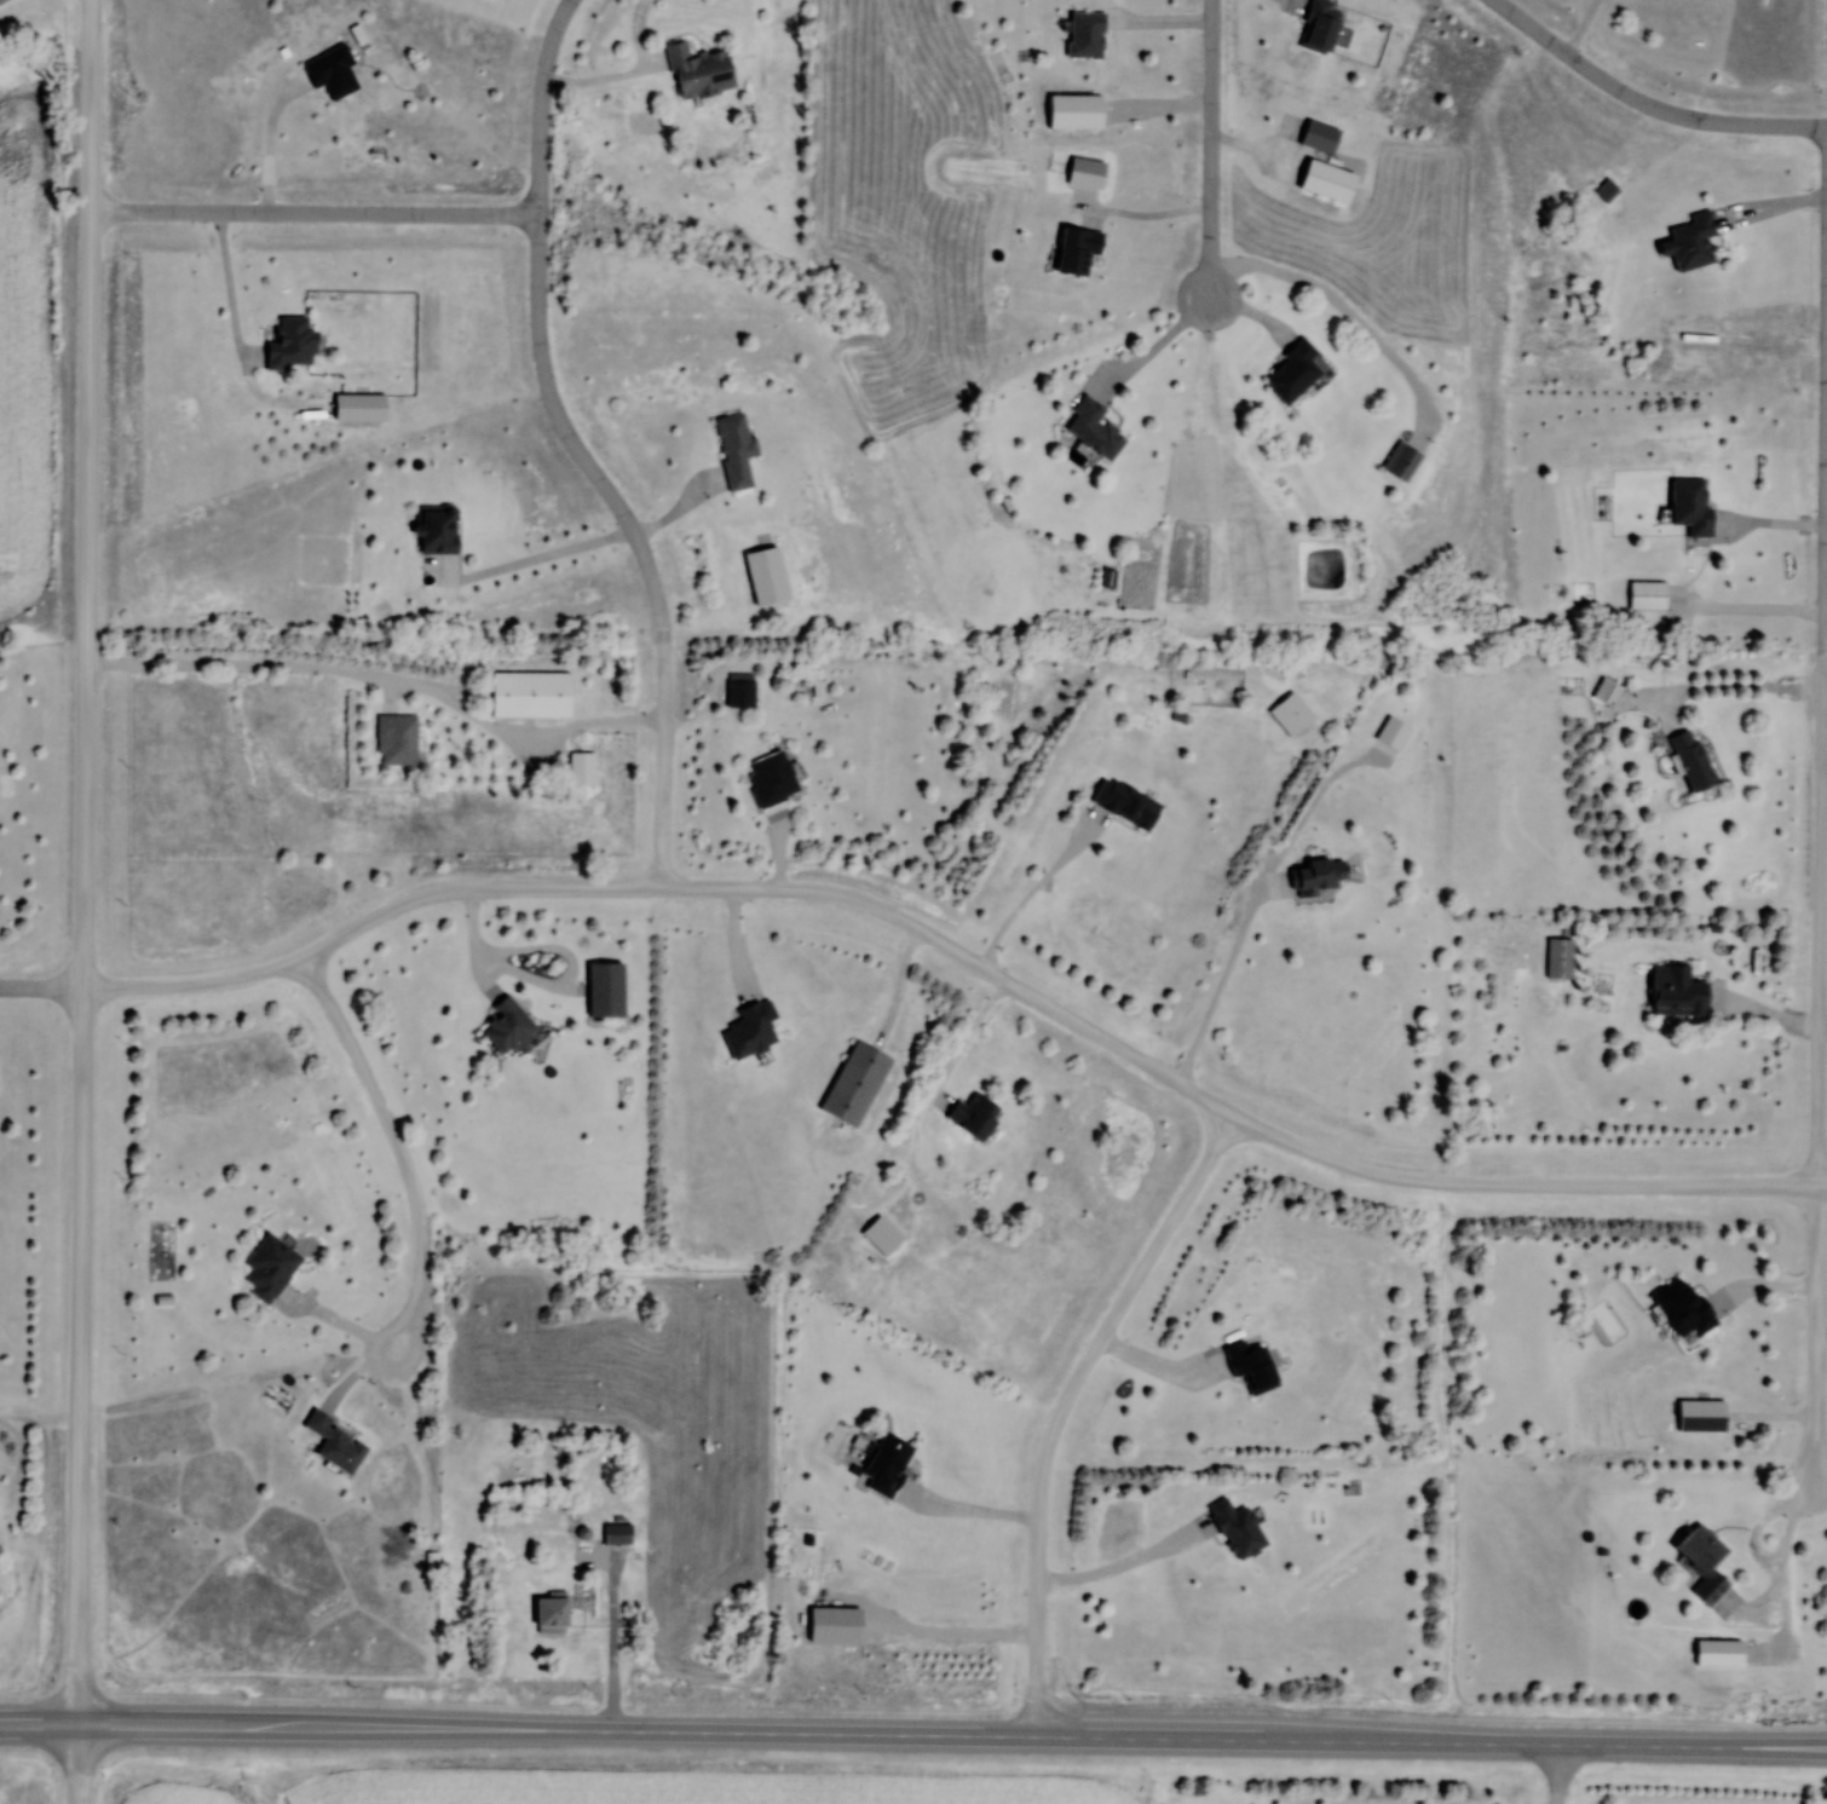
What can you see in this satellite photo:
building: (1319, 25)
road: (1584, 27)
building: (1087, 34)
road: (613, 68)
building: (698, 70)
building: (330, 73)
road: (1644, 104)
building: (1307, 132)
road: (250, 140)
road: (1210, 149)
road: (426, 214)
building: (1691, 242)
road: (212, 289)
building: (290, 344)
building: (1293, 370)
road: (553, 399)
building: (358, 408)
building: (1093, 427)
building: (734, 449)
building: (1401, 460)
building: (1690, 505)
road: (1826, 520)
building: (436, 528)
road: (525, 548)
building: (766, 574)
building: (1647, 594)
road: (380, 672)
building: (740, 690)
building: (1606, 691)
building: (530, 693)
building: (1291, 714)
road: (659, 722)
building: (397, 739)
building: (1693, 760)
building: (582, 768)
building: (771, 778)
road: (1825, 784)
building: (1125, 802)
road: (85, 861)
building: (1319, 875)
road: (1012, 882)
road: (1233, 898)
road: (1821, 921)
road: (966, 956)
building: (1560, 958)
road: (530, 974)
road: (880, 975)
road: (42, 989)
building: (605, 990)
building: (1678, 998)
building: (507, 1026)
building: (750, 1030)
road: (916, 1079)
building: (854, 1084)
building: (973, 1116)
road: (402, 1147)
building: (270, 1268)
building: (1683, 1309)
road: (329, 1316)
road: (1816, 1338)
road: (1154, 1366)
building: (1251, 1366)
road: (1060, 1405)
building: (1700, 1416)
building: (335, 1443)
building: (886, 1463)
road: (1820, 1491)
road: (962, 1503)
building: (1238, 1528)
building: (617, 1534)
road: (1110, 1556)
building: (1704, 1562)
building: (549, 1615)
building: (834, 1624)
road: (945, 1624)
road: (913, 1735)
road: (77, 1764)
road: (1551, 1774)

